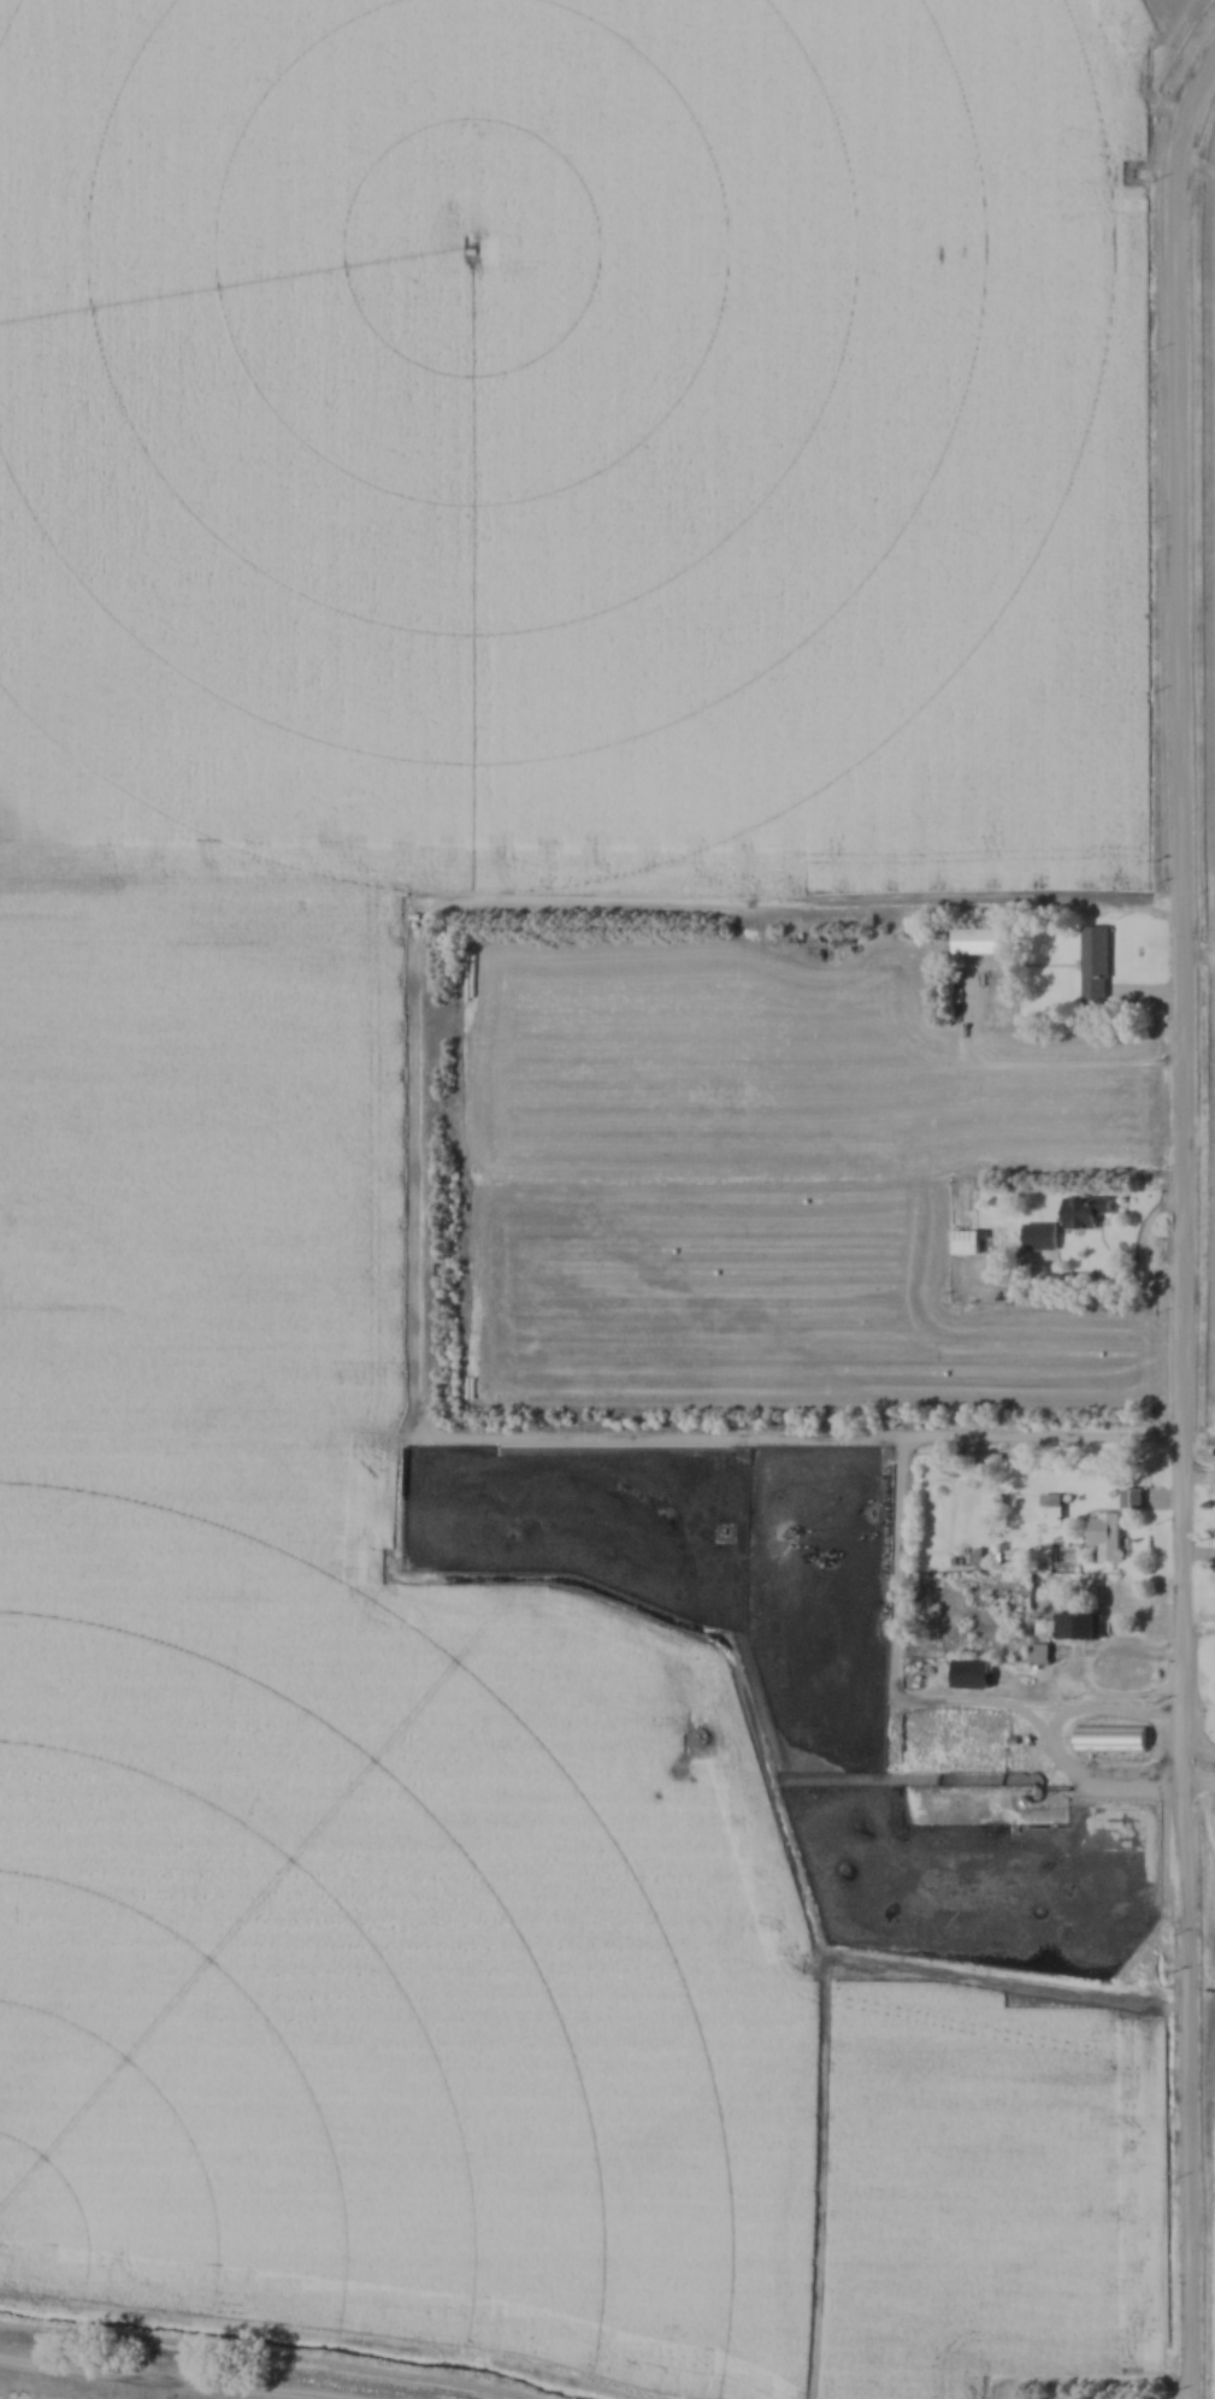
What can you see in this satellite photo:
crop: (1145, 8)
crop: (1209, 446)
building: (979, 937)
building: (1097, 961)
road: (1031, 1063)
crop: (199, 1148)
crop: (760, 1177)
building: (1083, 1212)
road: (1182, 1225)
building: (1043, 1231)
building: (969, 1239)
road: (1113, 1279)
building: (1050, 1502)
building: (1103, 1537)
building: (1077, 1626)
building: (1037, 1654)
building: (974, 1670)
road: (910, 1700)
road: (1193, 1705)
building: (1109, 1739)
road: (1087, 1779)
crop: (992, 2182)

